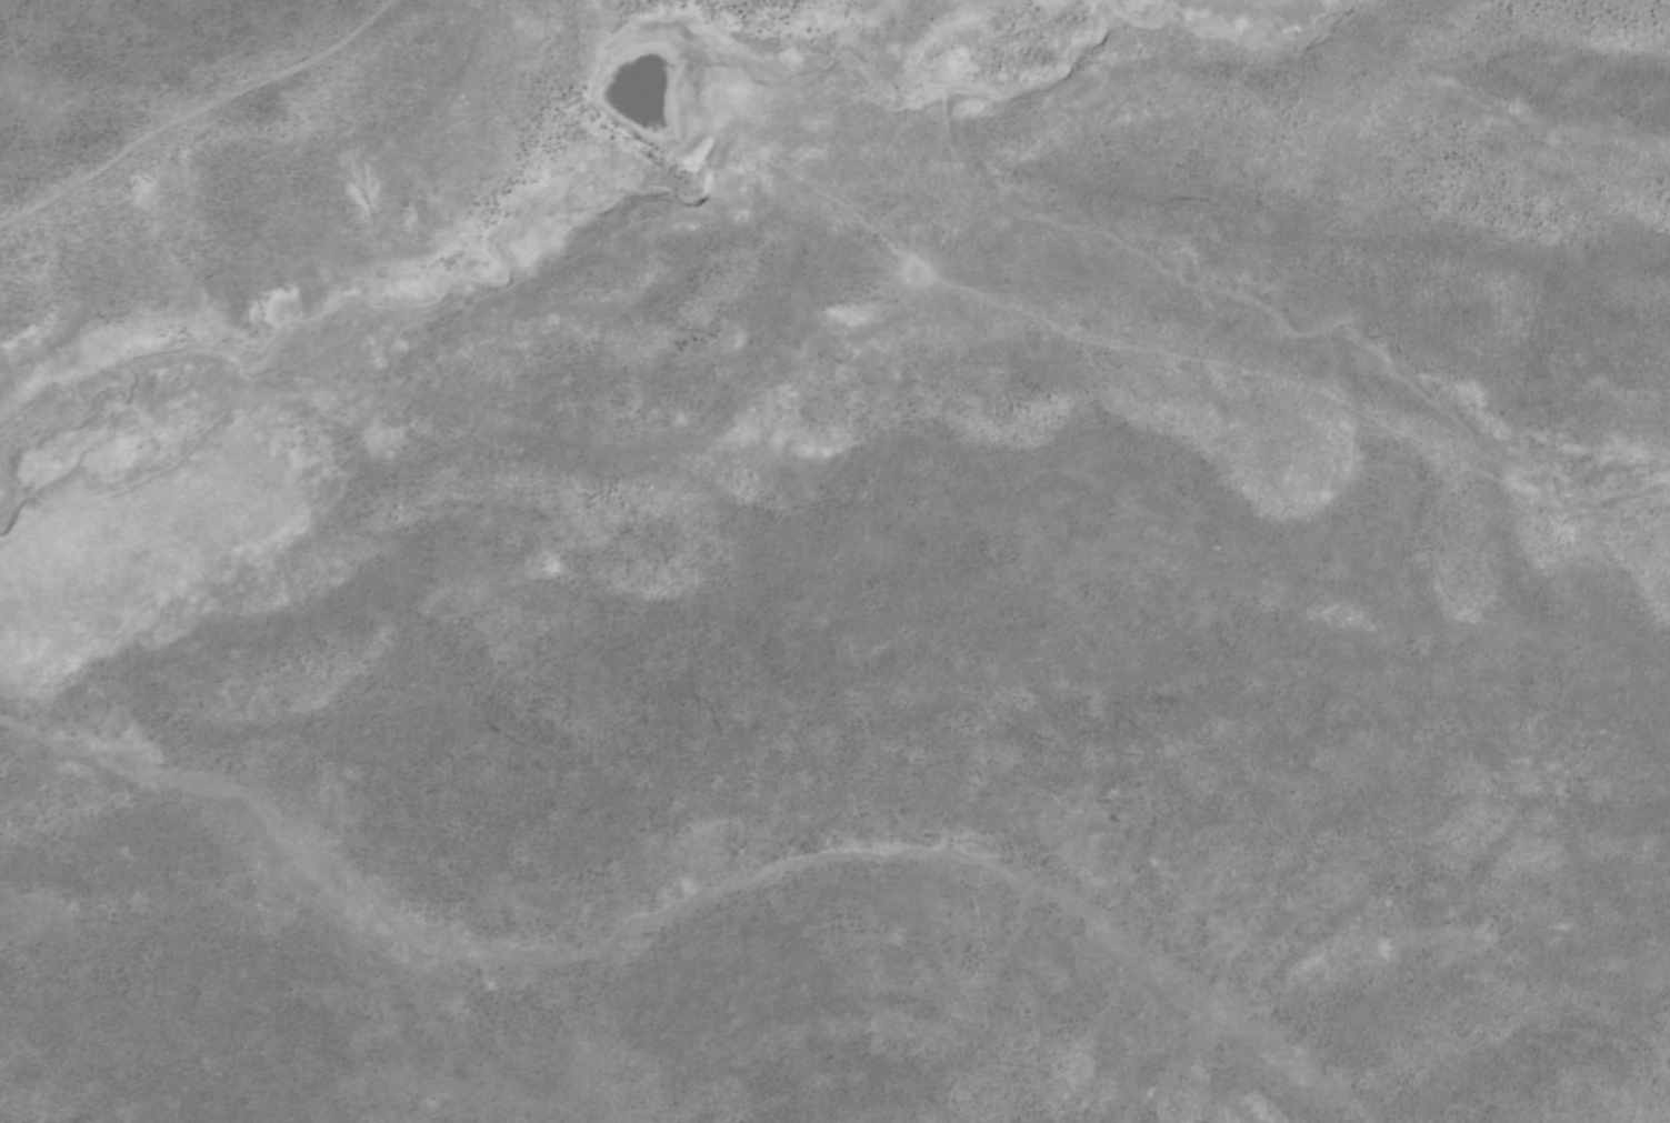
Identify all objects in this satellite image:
road: (189, 112)

